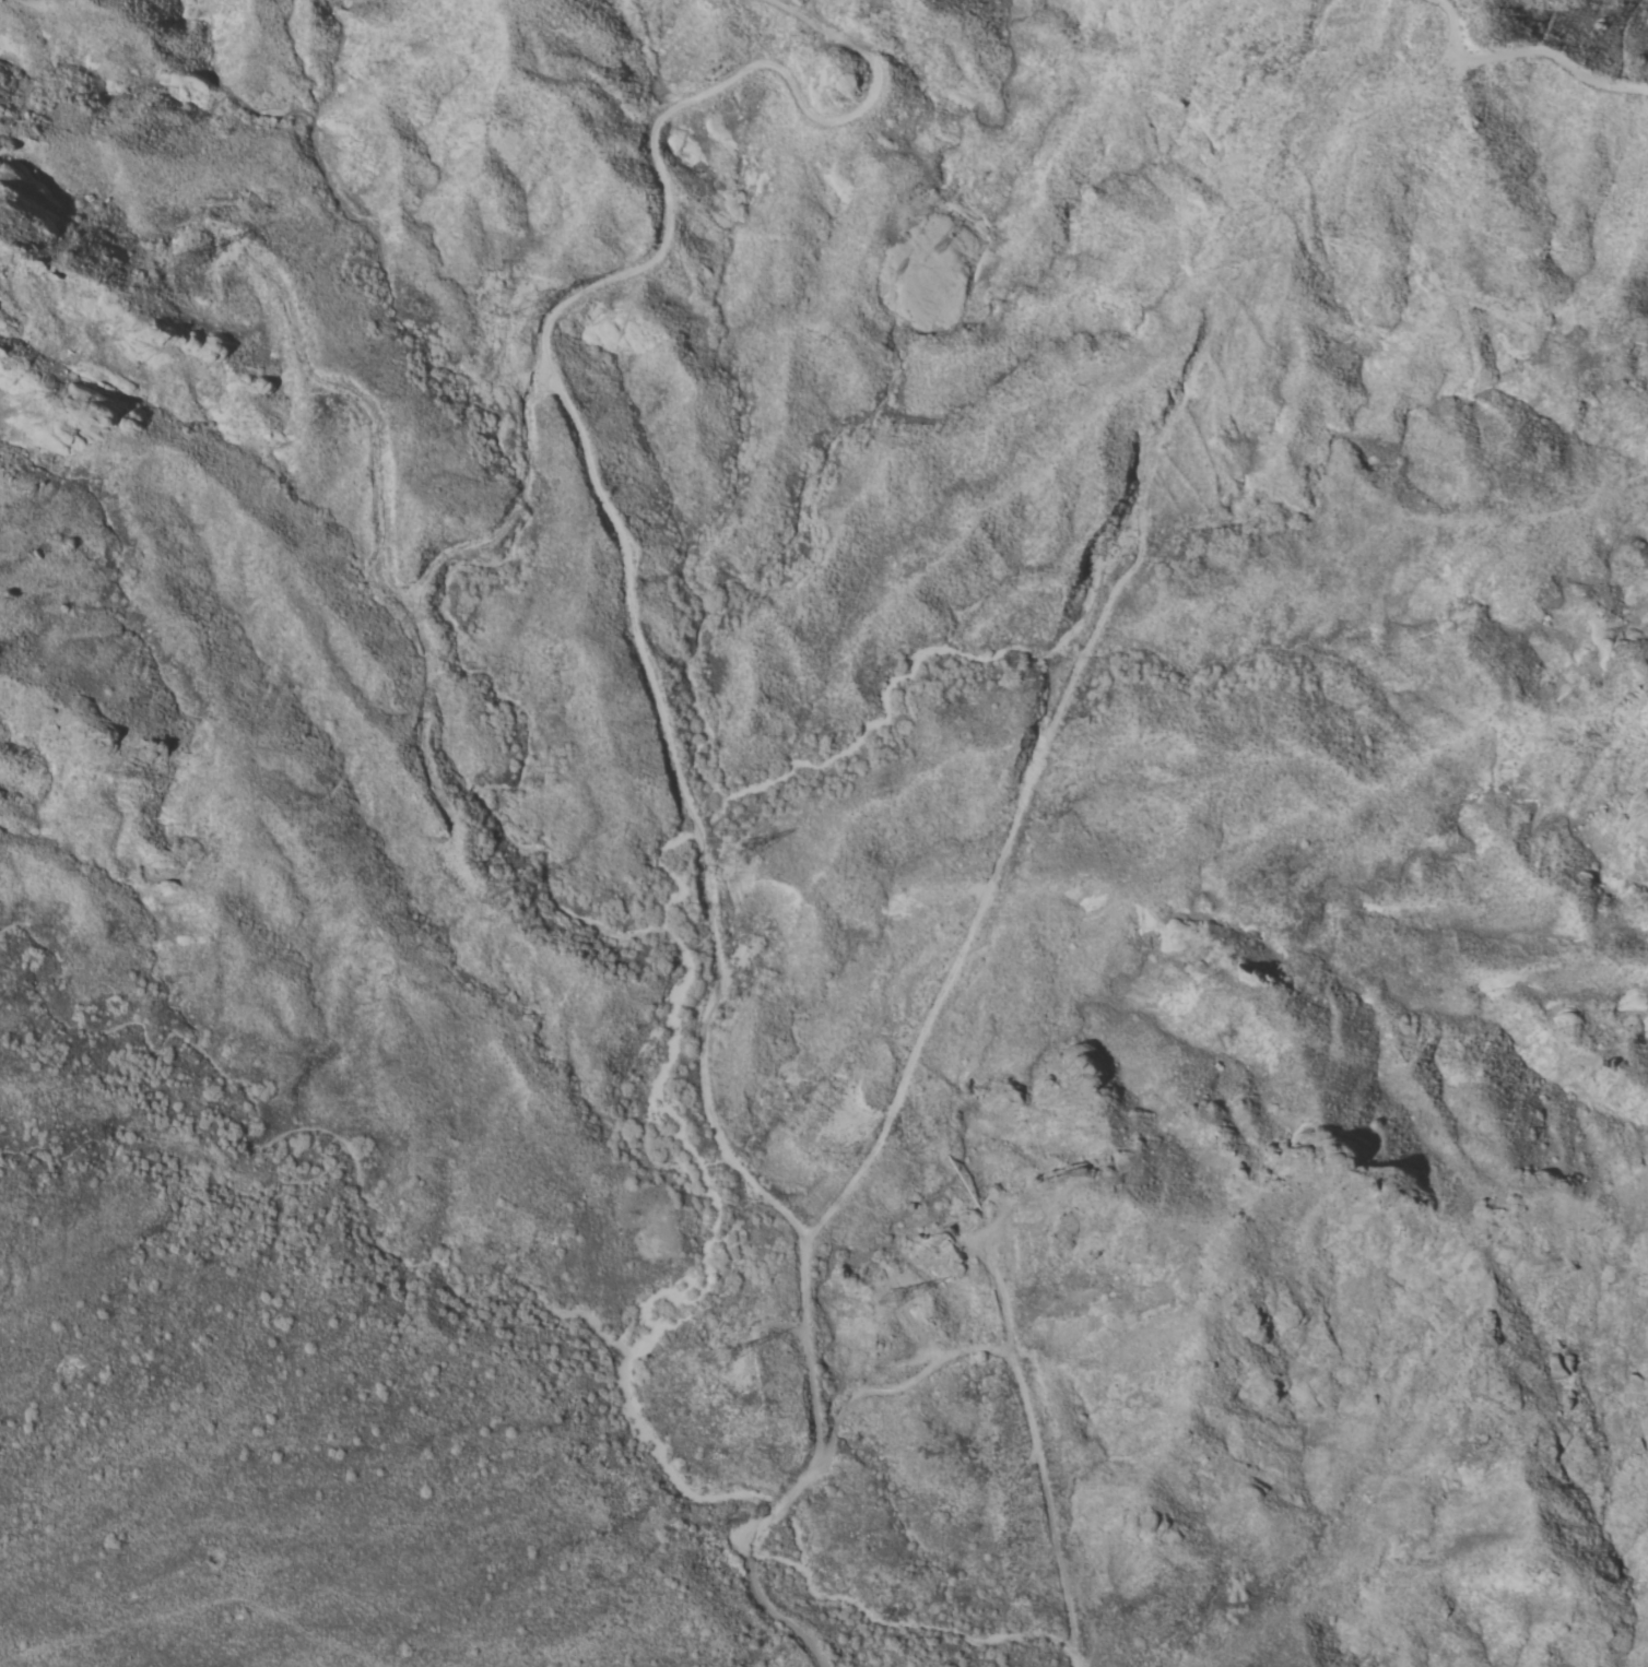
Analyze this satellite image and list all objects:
road: (1529, 50)
power tower: (207, 247)
power tower: (535, 291)
road: (510, 341)
road: (360, 397)
road: (416, 595)
road: (652, 678)
power tower: (765, 856)
road: (987, 885)
power tower: (502, 891)
power tower: (920, 1301)
road: (760, 1326)
power tower: (727, 1352)
road: (897, 1388)
road: (1043, 1458)

